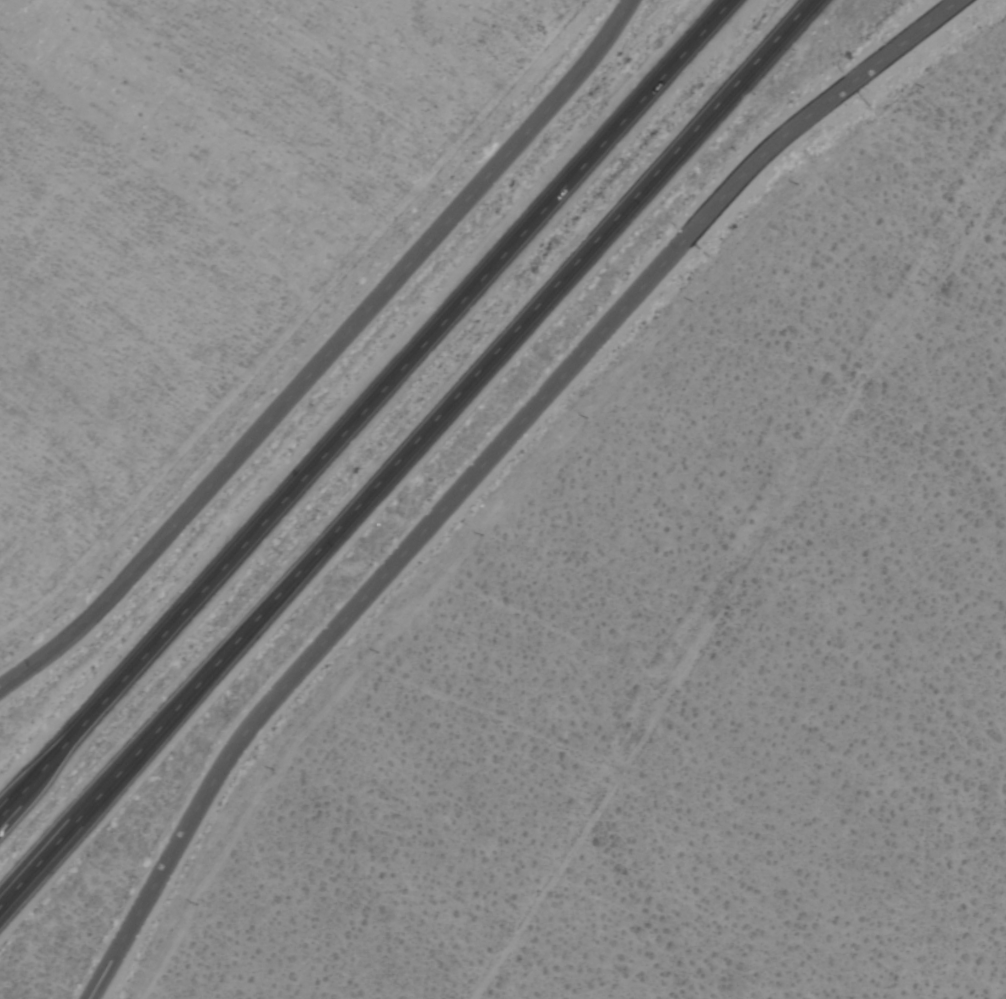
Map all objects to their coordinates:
road: (327, 356)
road: (366, 409)
road: (405, 454)
road: (483, 464)

